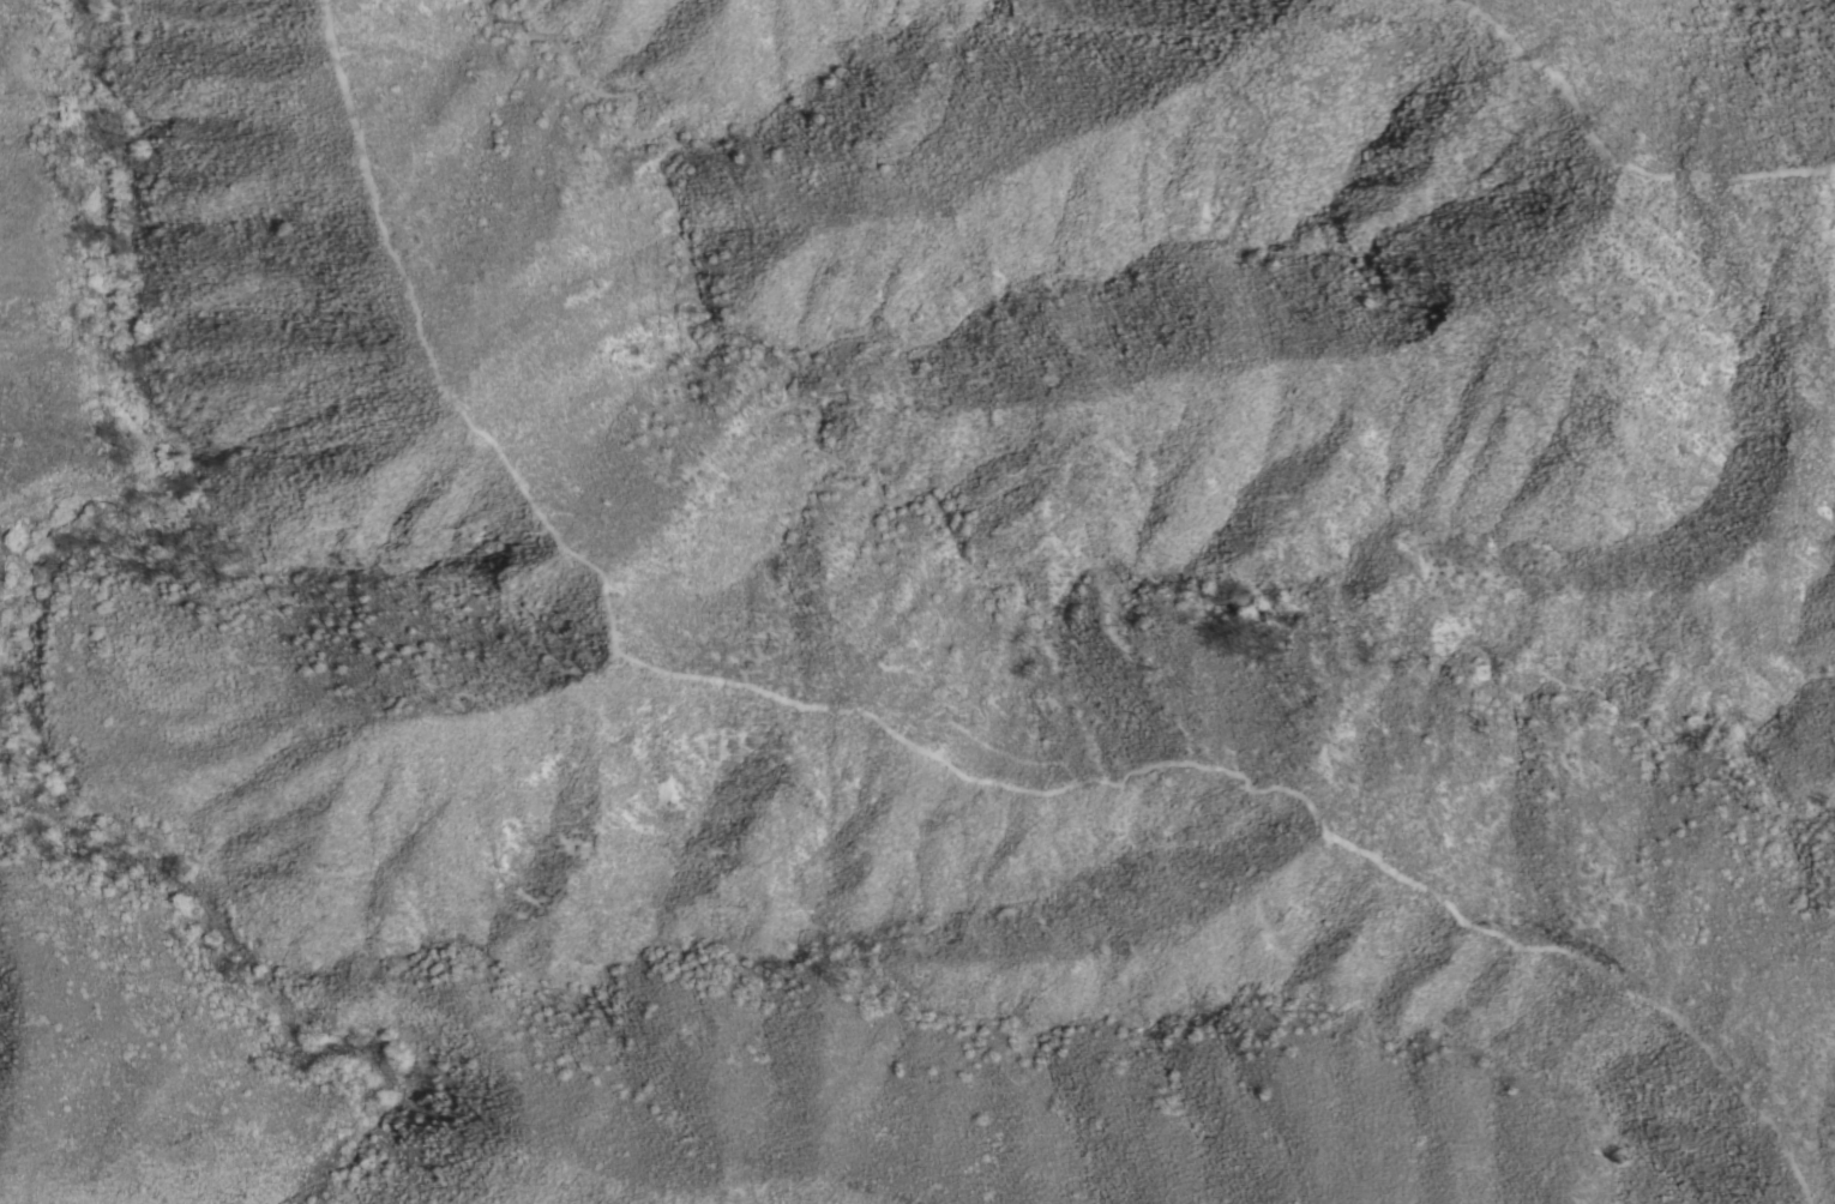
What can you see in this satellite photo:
road: (1747, 1079)

